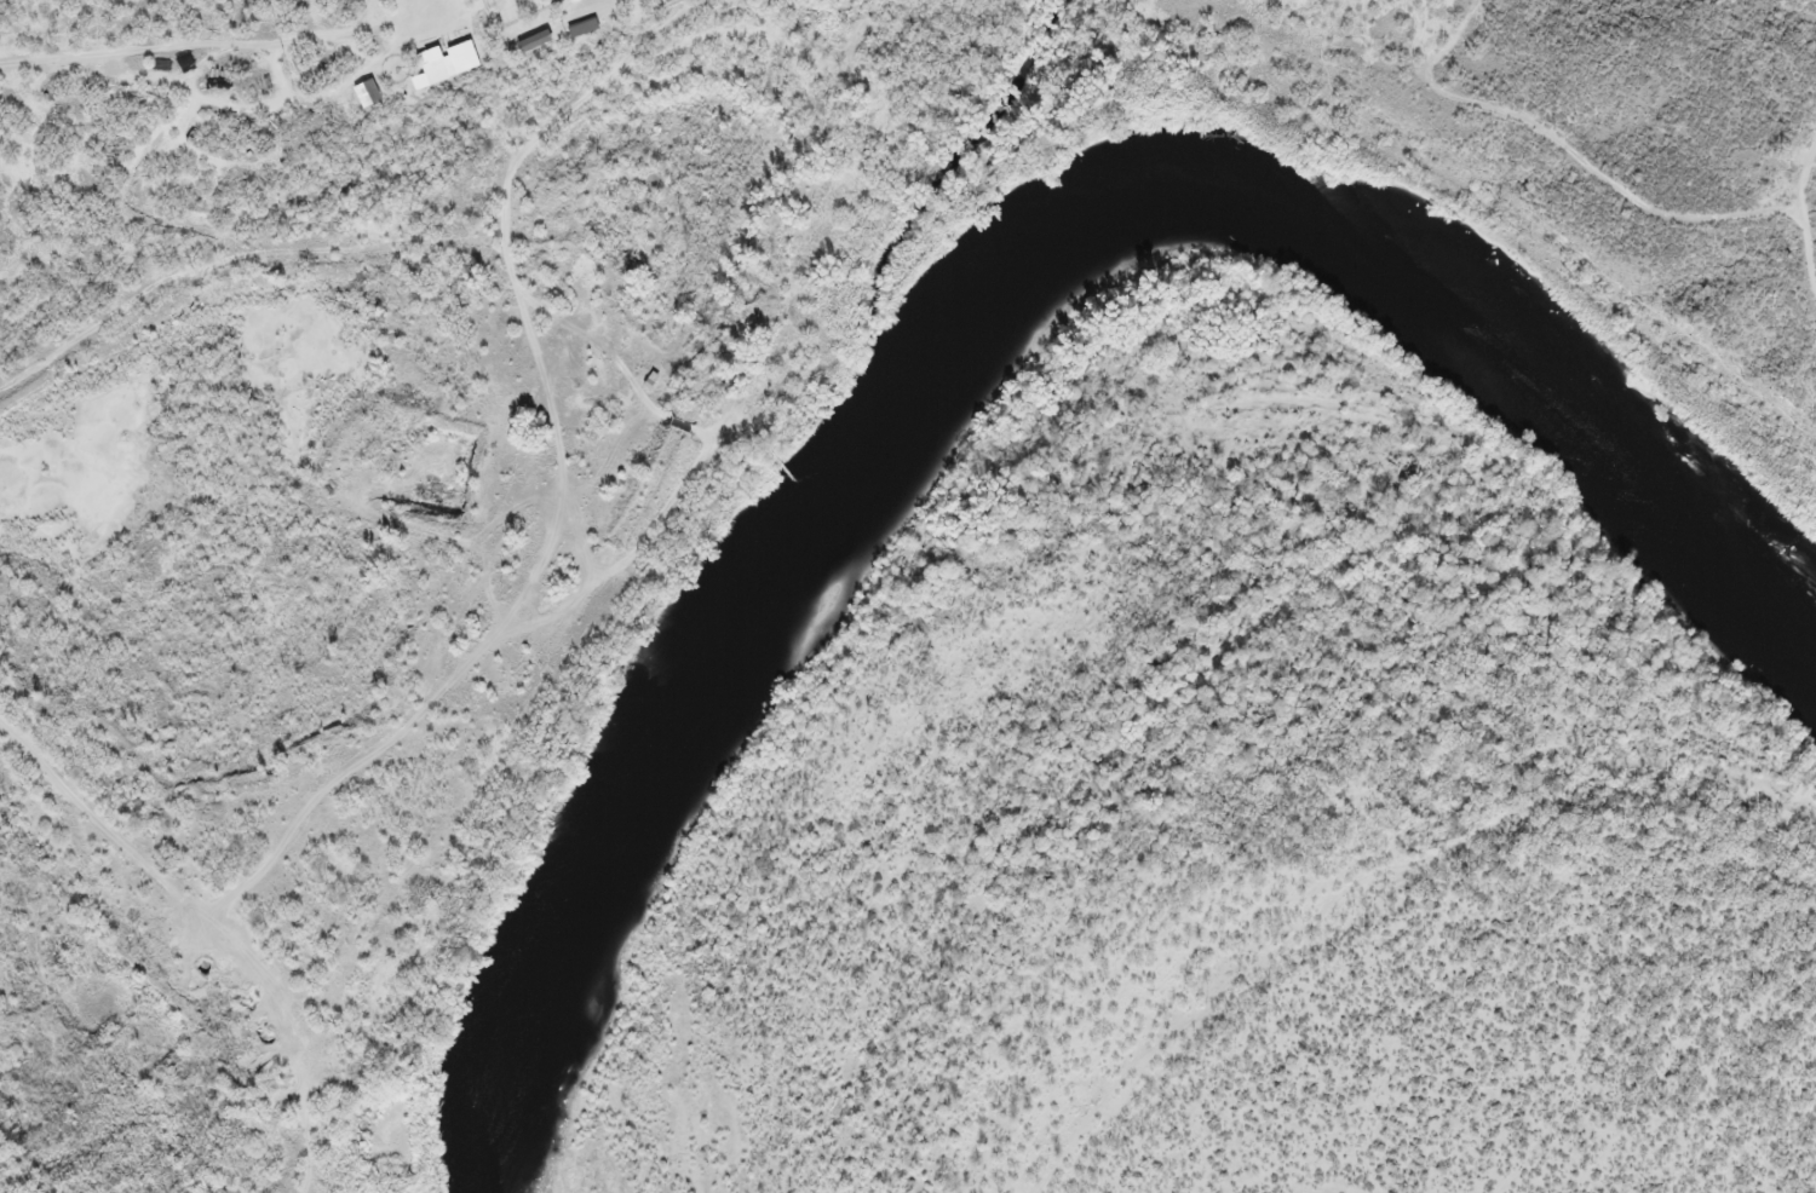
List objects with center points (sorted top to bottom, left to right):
road: (475, 48)
river: (1630, 460)
river: (843, 524)

